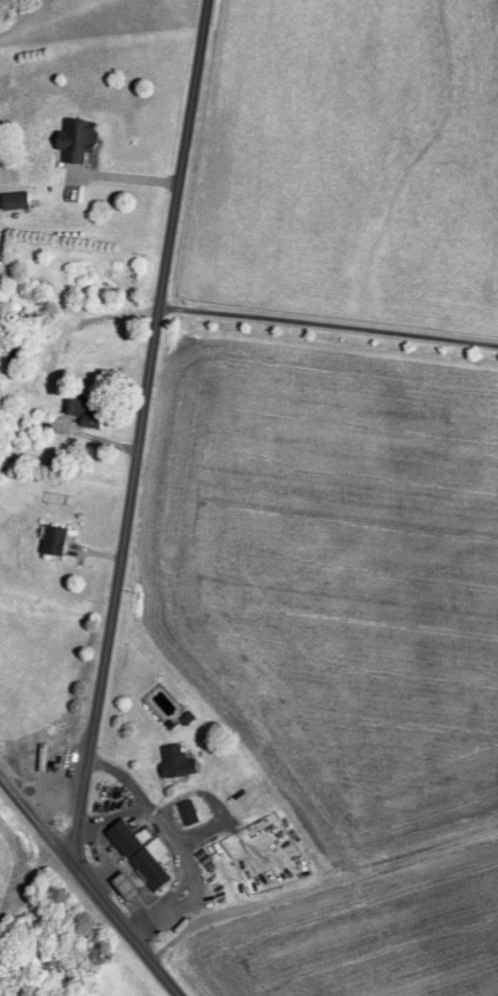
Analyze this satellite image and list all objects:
building: (78, 140)
road: (124, 178)
building: (16, 201)
building: (128, 275)
building: (32, 317)
road: (328, 325)
building: (86, 409)
building: (42, 424)
road: (139, 427)
building: (55, 541)
building: (177, 762)
building: (189, 812)
road: (115, 814)
road: (177, 840)
building: (142, 854)
road: (91, 885)
road: (317, 885)
building: (130, 891)
building: (53, 965)

